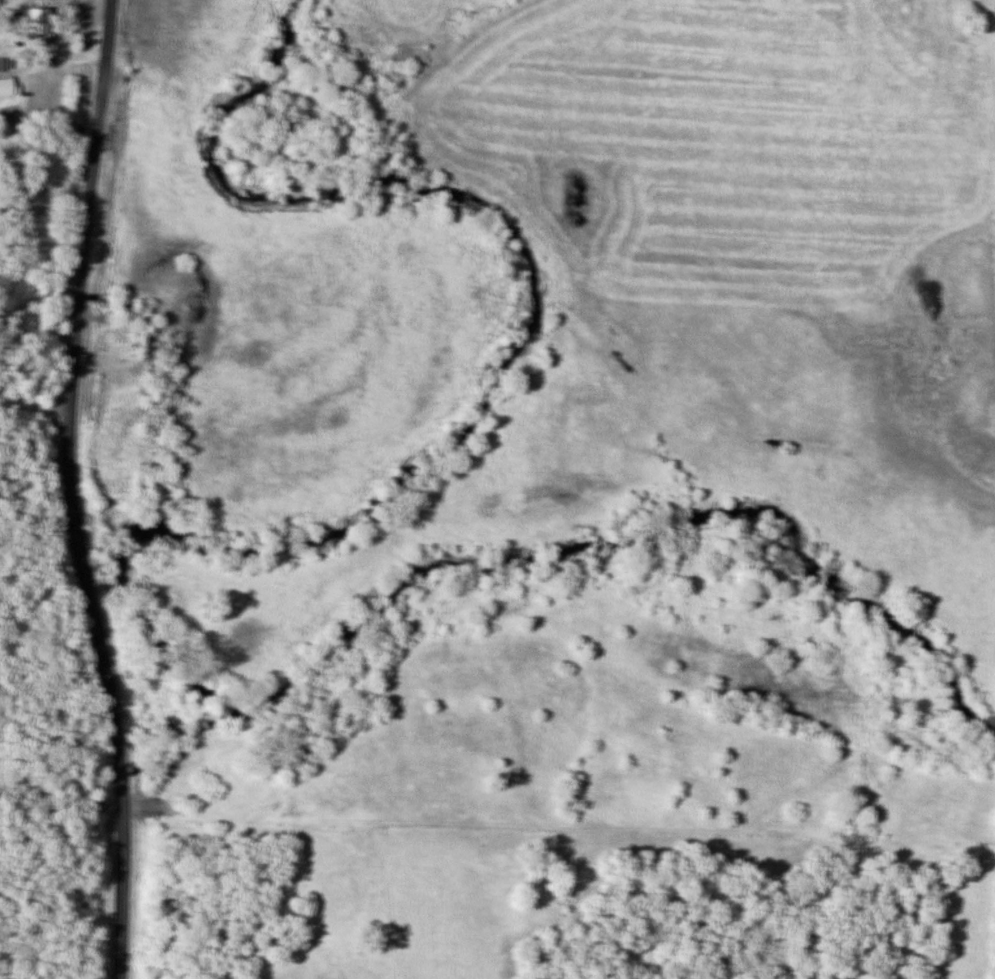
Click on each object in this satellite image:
building: (32, 20)
building: (0, 64)
building: (5, 86)
road: (71, 490)

